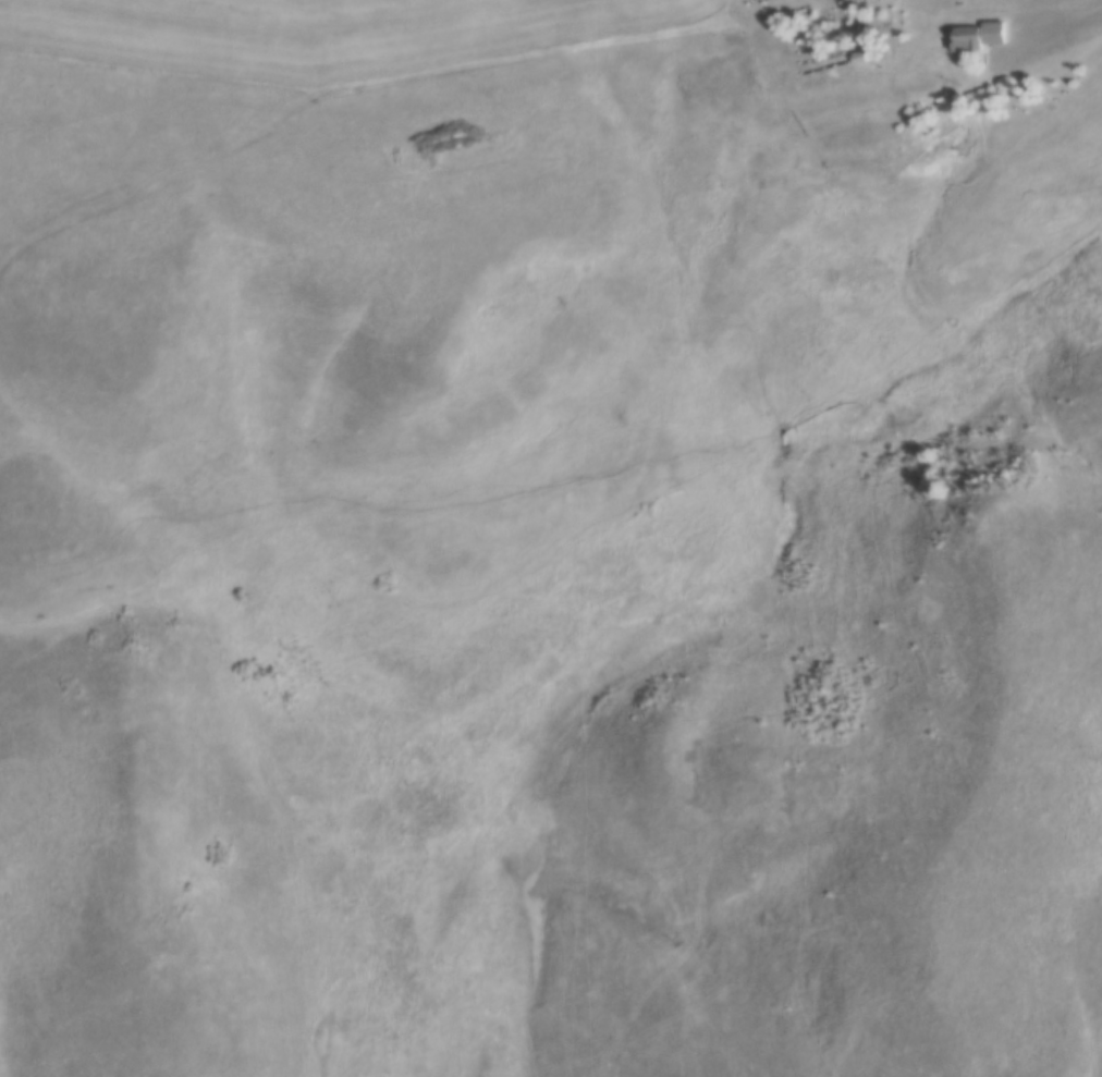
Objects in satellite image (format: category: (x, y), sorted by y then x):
road: (1063, 29)
building: (995, 33)
building: (865, 136)

